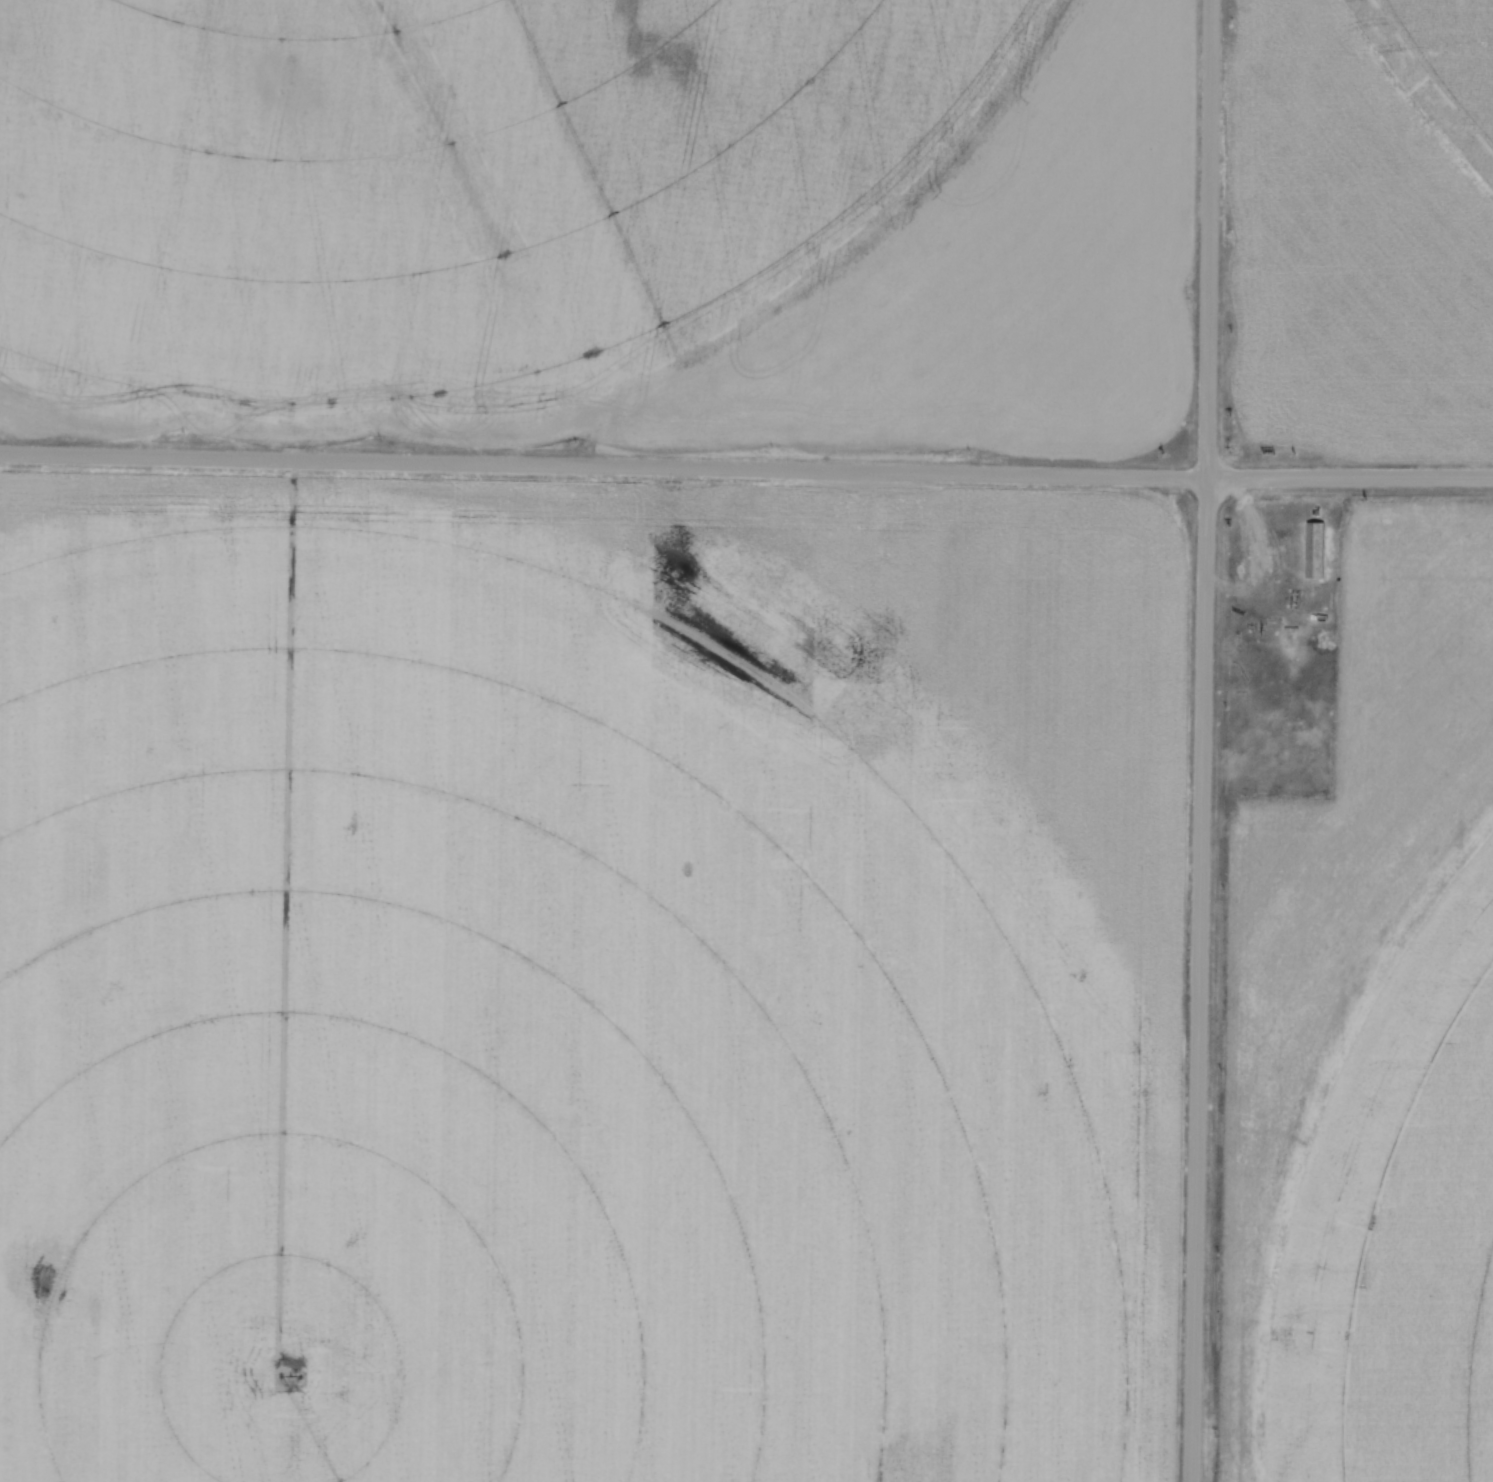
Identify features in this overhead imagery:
crop: (602, 227)
crop: (1359, 228)
road: (746, 469)
building: (1315, 548)
road: (1202, 741)
crop: (588, 981)
crop: (1371, 1049)

